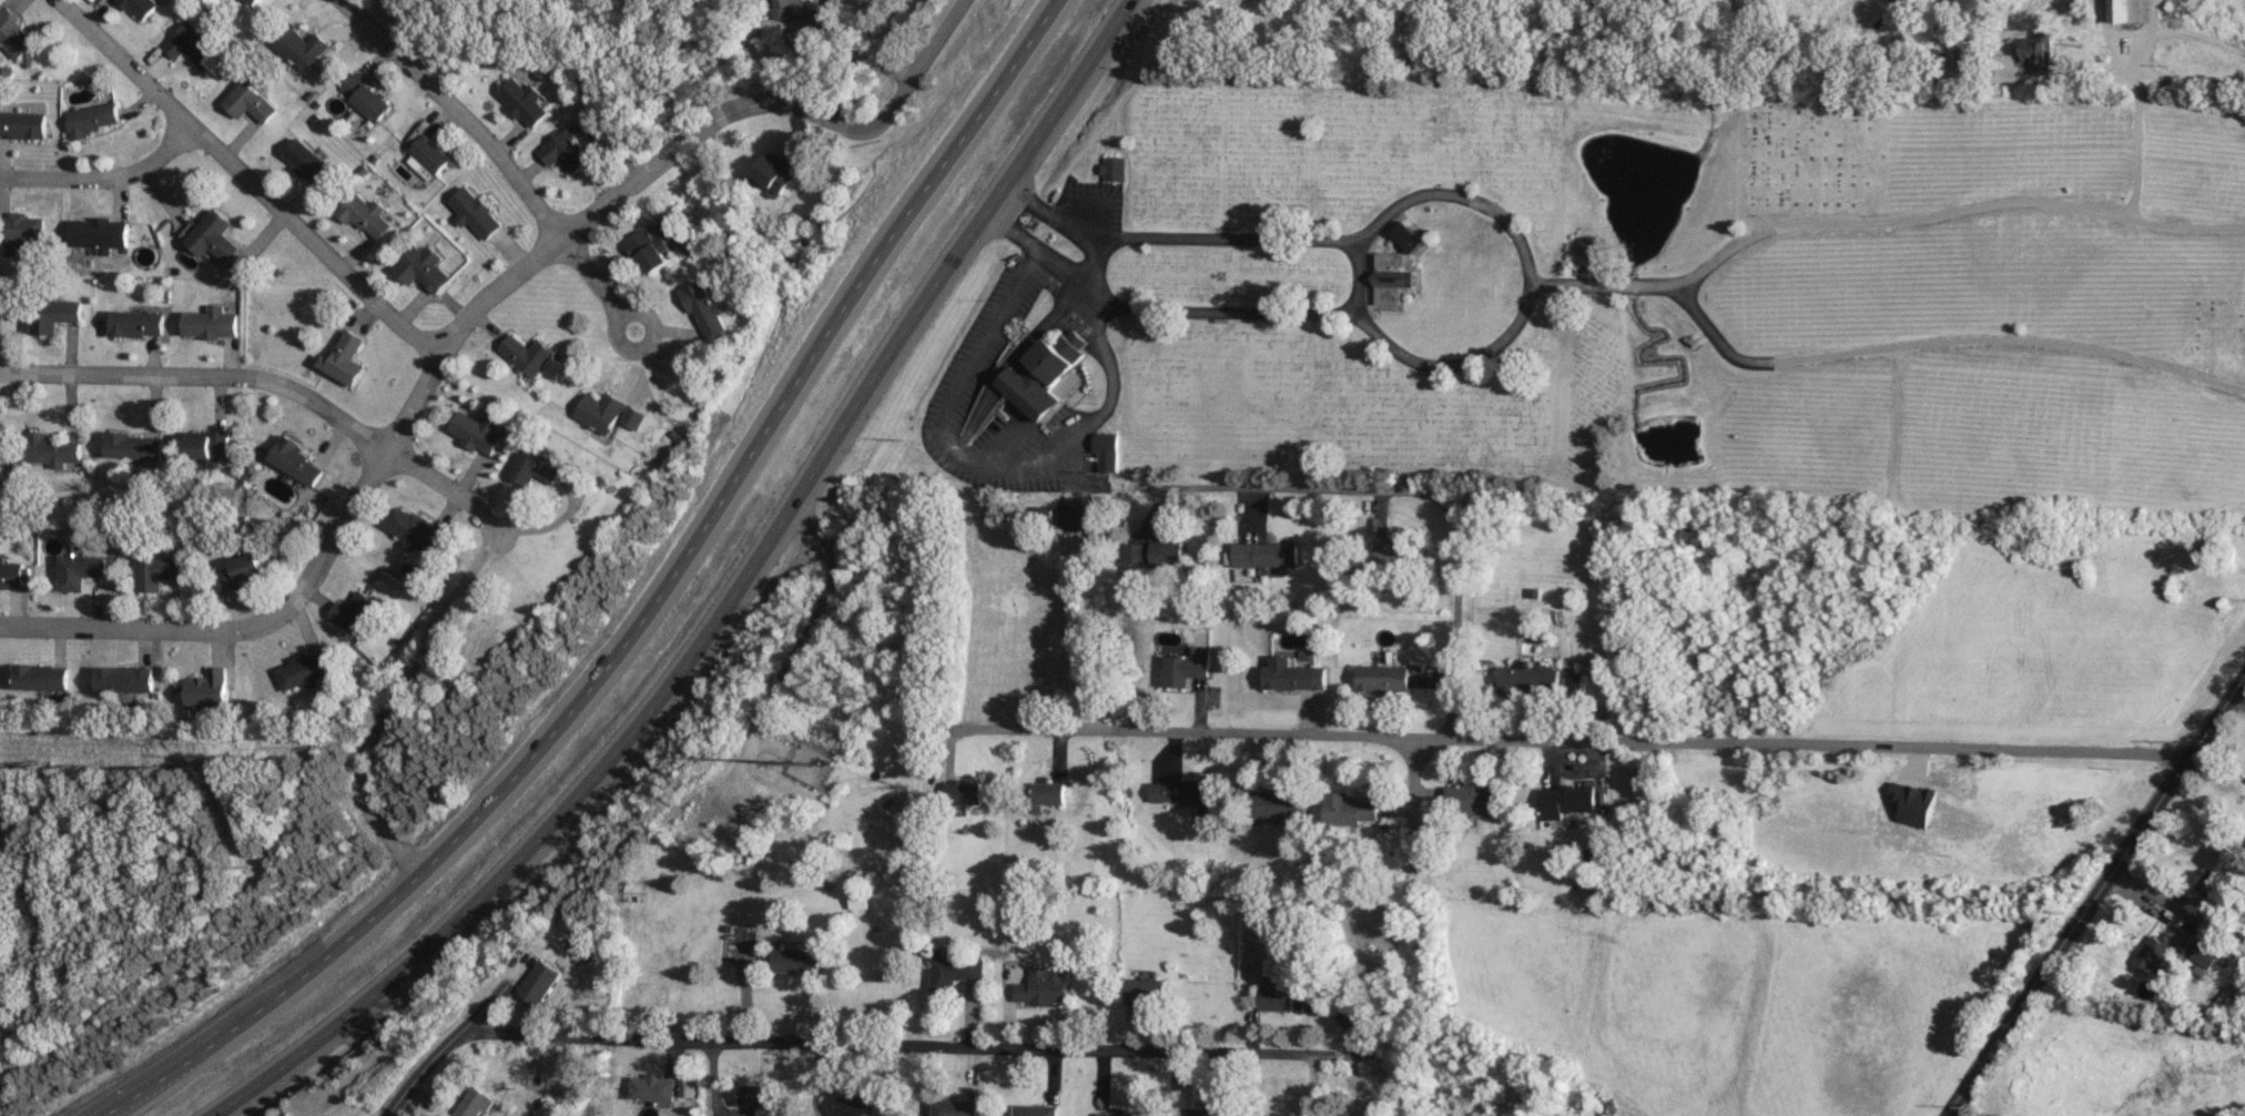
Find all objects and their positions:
building: (253, 1)
building: (782, 2)
building: (143, 7)
building: (2124, 10)
building: (813, 21)
building: (16, 33)
road: (931, 37)
building: (191, 42)
building: (304, 47)
road: (2195, 48)
building: (2036, 50)
road: (843, 55)
building: (1969, 55)
building: (1926, 58)
building: (364, 97)
building: (526, 101)
building: (250, 102)
building: (93, 119)
building: (22, 124)
road: (2135, 126)
building: (567, 151)
road: (501, 153)
building: (428, 158)
road: (657, 159)
building: (308, 162)
building: (1113, 168)
building: (779, 171)
road: (241, 176)
road: (101, 179)
road: (1052, 210)
road: (1954, 210)
building: (476, 212)
building: (367, 216)
building: (21, 229)
building: (98, 232)
building: (210, 235)
building: (1409, 235)
road: (1521, 239)
road: (1231, 240)
building: (1586, 246)
road: (1038, 250)
building: (649, 252)
building: (1389, 261)
building: (425, 267)
road: (1605, 285)
building: (1390, 291)
building: (1, 305)
building: (707, 311)
road: (1198, 312)
building: (52, 314)
building: (209, 322)
building: (135, 323)
road: (1946, 342)
building: (528, 354)
building: (344, 358)
building: (1044, 373)
road: (271, 383)
building: (609, 413)
building: (477, 432)
building: (206, 445)
building: (131, 446)
building: (51, 448)
building: (294, 460)
road: (981, 463)
building: (535, 466)
road: (1891, 488)
road: (1403, 489)
building: (415, 531)
building: (1391, 550)
building: (1152, 554)
building: (1266, 555)
building: (78, 571)
building: (242, 571)
building: (156, 574)
building: (10, 575)
road: (286, 602)
road: (719, 606)
building: (356, 615)
road: (636, 616)
road: (806, 626)
building: (1184, 670)
building: (302, 671)
building: (1292, 674)
building: (38, 678)
building: (121, 679)
building: (1382, 679)
building: (1526, 681)
building: (206, 690)
road: (385, 701)
road: (1564, 740)
road: (1411, 781)
building: (1181, 790)
building: (962, 792)
building: (1048, 795)
building: (1470, 800)
building: (1564, 801)
building: (1277, 803)
building: (1349, 810)
building: (2215, 866)
road: (2094, 891)
building: (857, 900)
building: (2151, 954)
building: (2205, 955)
building: (795, 960)
building: (953, 970)
building: (539, 982)
building: (1043, 987)
road: (743, 988)
building: (1147, 992)
building: (1277, 998)
road: (447, 1044)
road: (921, 1047)
building: (651, 1087)
building: (752, 1095)
building: (477, 1103)
building: (854, 1104)
building: (954, 1107)
building: (550, 1109)
building: (1036, 1110)
building: (1205, 1112)
building: (1117, 1114)
road: (1951, 1114)

